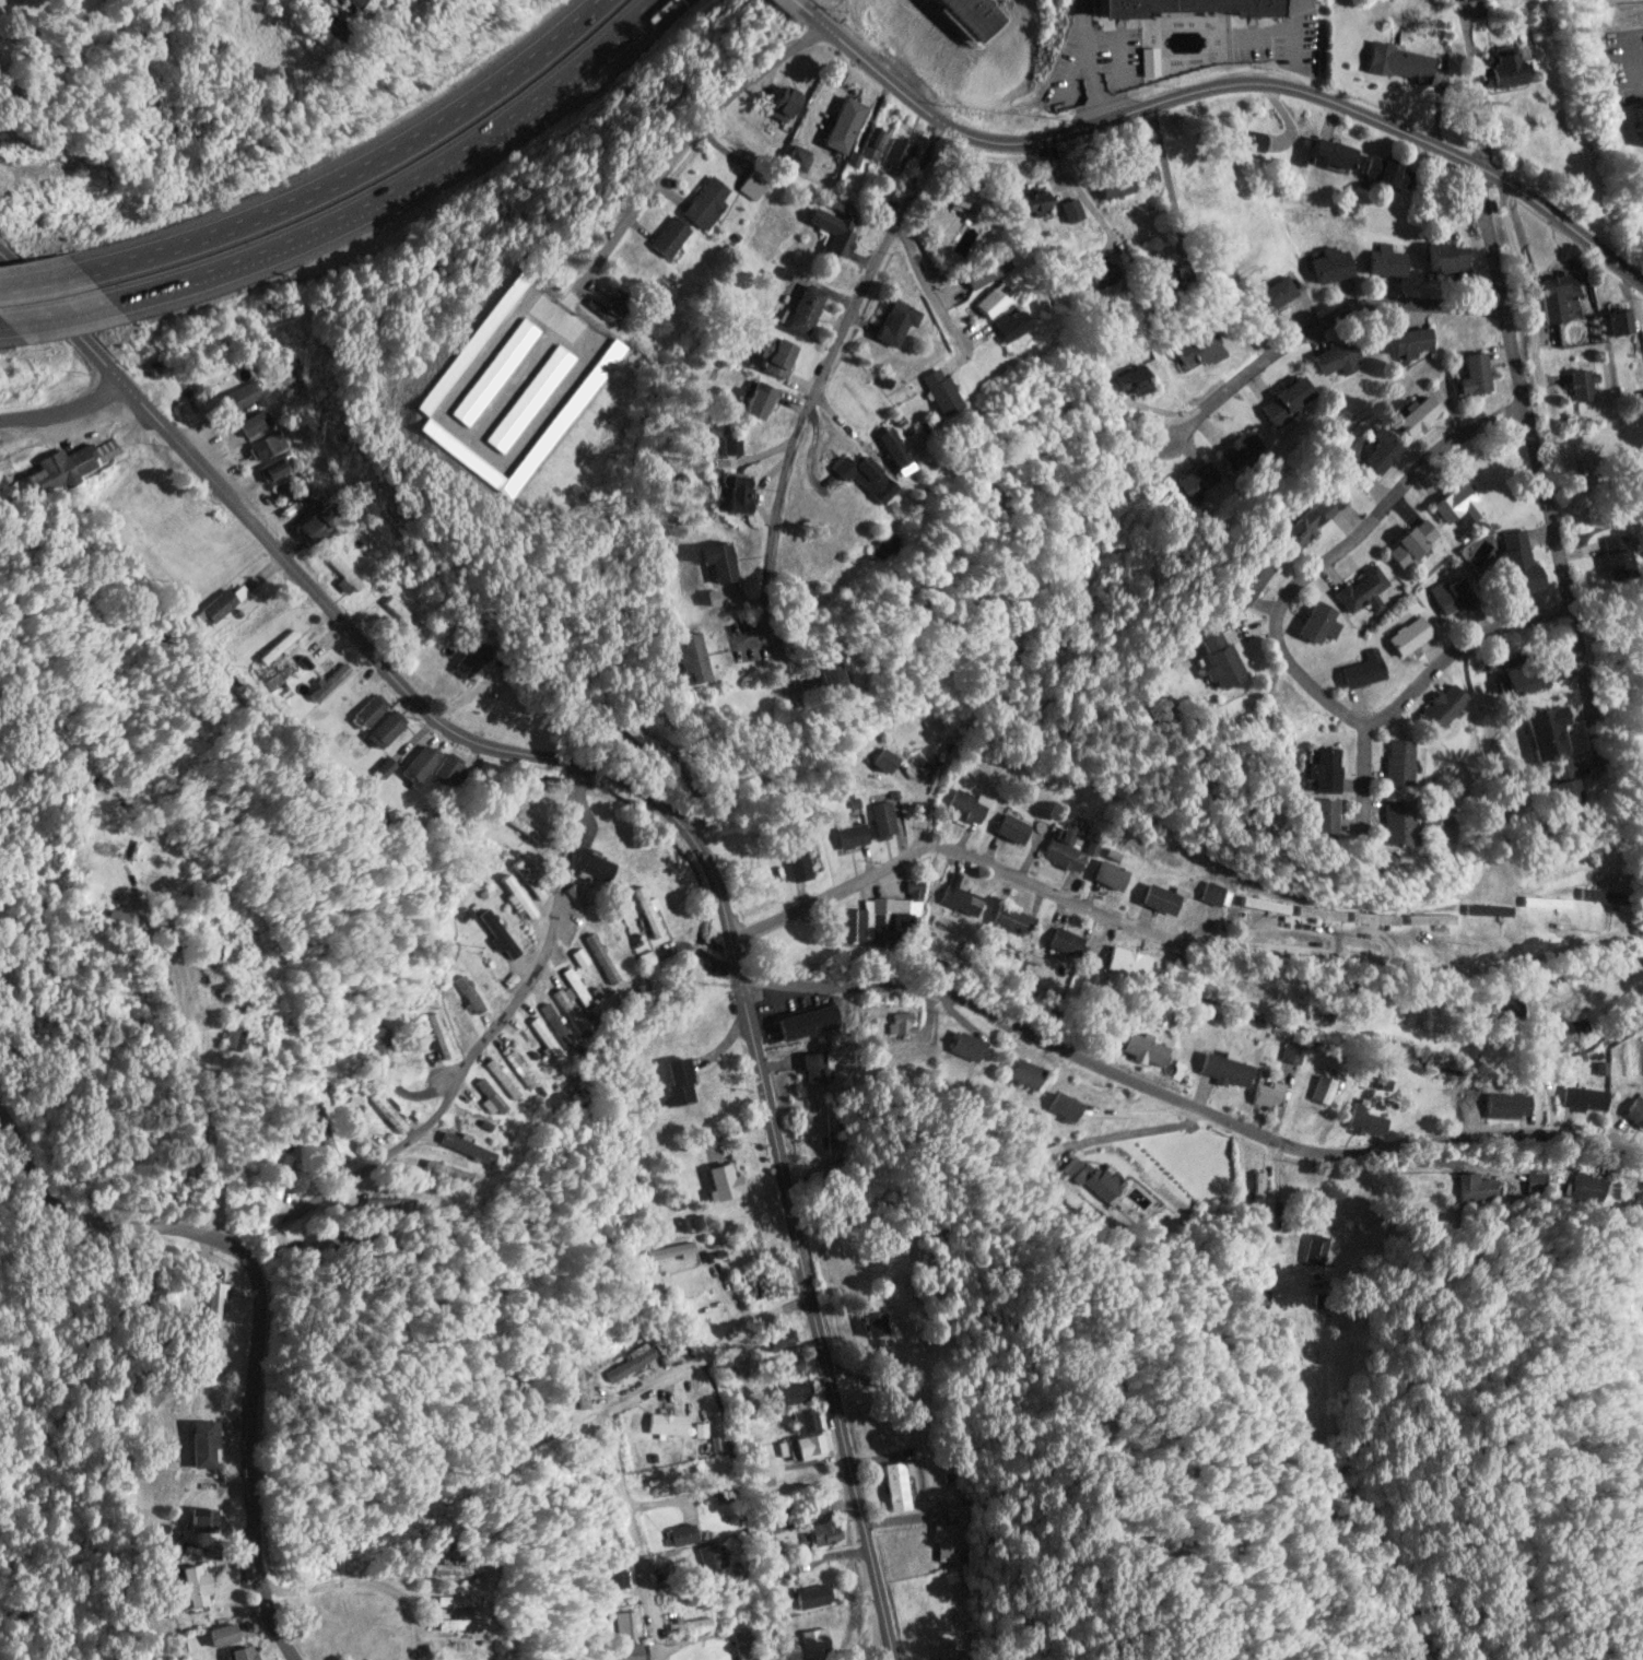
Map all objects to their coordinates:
road: (797, 0)
building: (1180, 4)
road: (803, 5)
building: (875, 12)
building: (1186, 12)
road: (615, 31)
road: (627, 33)
building: (1394, 62)
building: (1491, 68)
road: (1228, 74)
building: (777, 103)
building: (1642, 121)
building: (840, 125)
building: (1640, 138)
building: (1252, 140)
road: (682, 141)
building: (868, 143)
building: (1323, 153)
building: (892, 155)
building: (789, 161)
road: (361, 163)
road: (1474, 167)
building: (1382, 173)
building: (1107, 186)
building: (701, 202)
building: (1031, 202)
road: (367, 204)
building: (1067, 210)
building: (830, 229)
building: (664, 237)
building: (1444, 257)
building: (1384, 260)
building: (1327, 264)
building: (978, 271)
road: (47, 276)
building: (1162, 280)
road: (924, 284)
building: (1268, 294)
building: (1554, 294)
building: (990, 299)
building: (802, 309)
road: (61, 310)
building: (892, 322)
road: (1316, 322)
building: (1617, 322)
building: (1007, 323)
building: (1409, 342)
building: (1195, 350)
building: (573, 351)
building: (772, 354)
building: (1338, 357)
building: (1472, 374)
building: (1129, 380)
building: (1581, 385)
building: (937, 391)
building: (240, 395)
building: (753, 399)
building: (1286, 400)
road: (803, 401)
road: (62, 407)
building: (1413, 415)
building: (251, 422)
building: (460, 431)
building: (266, 445)
building: (889, 448)
building: (1241, 451)
building: (1375, 454)
building: (69, 463)
park: (1598, 466)
building: (277, 467)
building: (859, 467)
road: (1536, 469)
building: (1198, 480)
building: (514, 484)
building: (285, 488)
building: (1455, 505)
building: (1304, 519)
building: (312, 522)
building: (1408, 544)
building: (1613, 555)
building: (1513, 560)
building: (714, 561)
building: (343, 570)
building: (1246, 580)
building: (1358, 589)
building: (1448, 597)
building: (222, 605)
building: (401, 612)
building: (1312, 624)
building: (1403, 636)
road: (1272, 640)
building: (280, 646)
road: (367, 647)
building: (678, 658)
building: (1209, 659)
building: (1358, 670)
building: (812, 672)
building: (1519, 678)
building: (330, 682)
building: (1434, 707)
building: (368, 711)
building: (385, 729)
building: (422, 763)
building: (1390, 763)
road: (579, 768)
building: (448, 770)
building: (1317, 772)
road: (1359, 776)
road: (578, 781)
building: (1556, 785)
building: (966, 807)
building: (1308, 817)
building: (882, 820)
building: (1385, 824)
building: (1009, 828)
building: (850, 836)
building: (1060, 855)
building: (798, 860)
building: (594, 863)
building: (1108, 876)
building: (529, 881)
road: (831, 890)
building: (1211, 893)
building: (518, 896)
building: (1599, 896)
building: (1159, 898)
building: (960, 899)
building: (1542, 903)
building: (1261, 905)
building: (647, 913)
building: (1317, 914)
building: (882, 917)
building: (1010, 920)
building: (496, 932)
building: (611, 941)
building: (1064, 942)
road: (1279, 950)
building: (647, 958)
building: (603, 962)
building: (1126, 963)
building: (588, 970)
building: (576, 986)
building: (467, 993)
building: (567, 1008)
building: (806, 1022)
building: (899, 1022)
building: (555, 1024)
building: (435, 1033)
building: (226, 1037)
road: (482, 1041)
building: (961, 1047)
building: (1141, 1048)
building: (377, 1049)
building: (531, 1051)
building: (1292, 1052)
building: (810, 1067)
building: (518, 1069)
building: (1222, 1069)
building: (1019, 1074)
building: (678, 1081)
building: (1265, 1094)
road: (1188, 1096)
building: (1584, 1097)
building: (1504, 1105)
building: (1058, 1106)
building: (1634, 1111)
building: (387, 1112)
building: (1365, 1122)
building: (352, 1126)
building: (322, 1131)
building: (465, 1147)
building: (280, 1174)
building: (1090, 1177)
building: (720, 1181)
building: (1471, 1182)
building: (1641, 1213)
building: (669, 1251)
building: (680, 1280)
building: (760, 1282)
road: (803, 1293)
building: (215, 1297)
road: (255, 1305)
road: (812, 1318)
road: (748, 1320)
building: (872, 1322)
building: (781, 1339)
road: (695, 1356)
building: (784, 1366)
building: (627, 1371)
building: (576, 1385)
building: (794, 1392)
building: (803, 1420)
building: (665, 1424)
building: (700, 1429)
building: (199, 1443)
building: (803, 1445)
road: (618, 1486)
building: (894, 1486)
building: (812, 1507)
building: (197, 1519)
building: (771, 1522)
building: (821, 1532)
building: (682, 1534)
building: (951, 1535)
building: (767, 1551)
building: (711, 1555)
building: (447, 1569)
building: (613, 1574)
road: (361, 1579)
building: (189, 1585)
building: (811, 1597)
building: (442, 1600)
building: (683, 1623)
building: (447, 1624)
building: (626, 1624)
building: (218, 1634)
building: (738, 1644)
building: (625, 1651)
building: (236, 1652)

